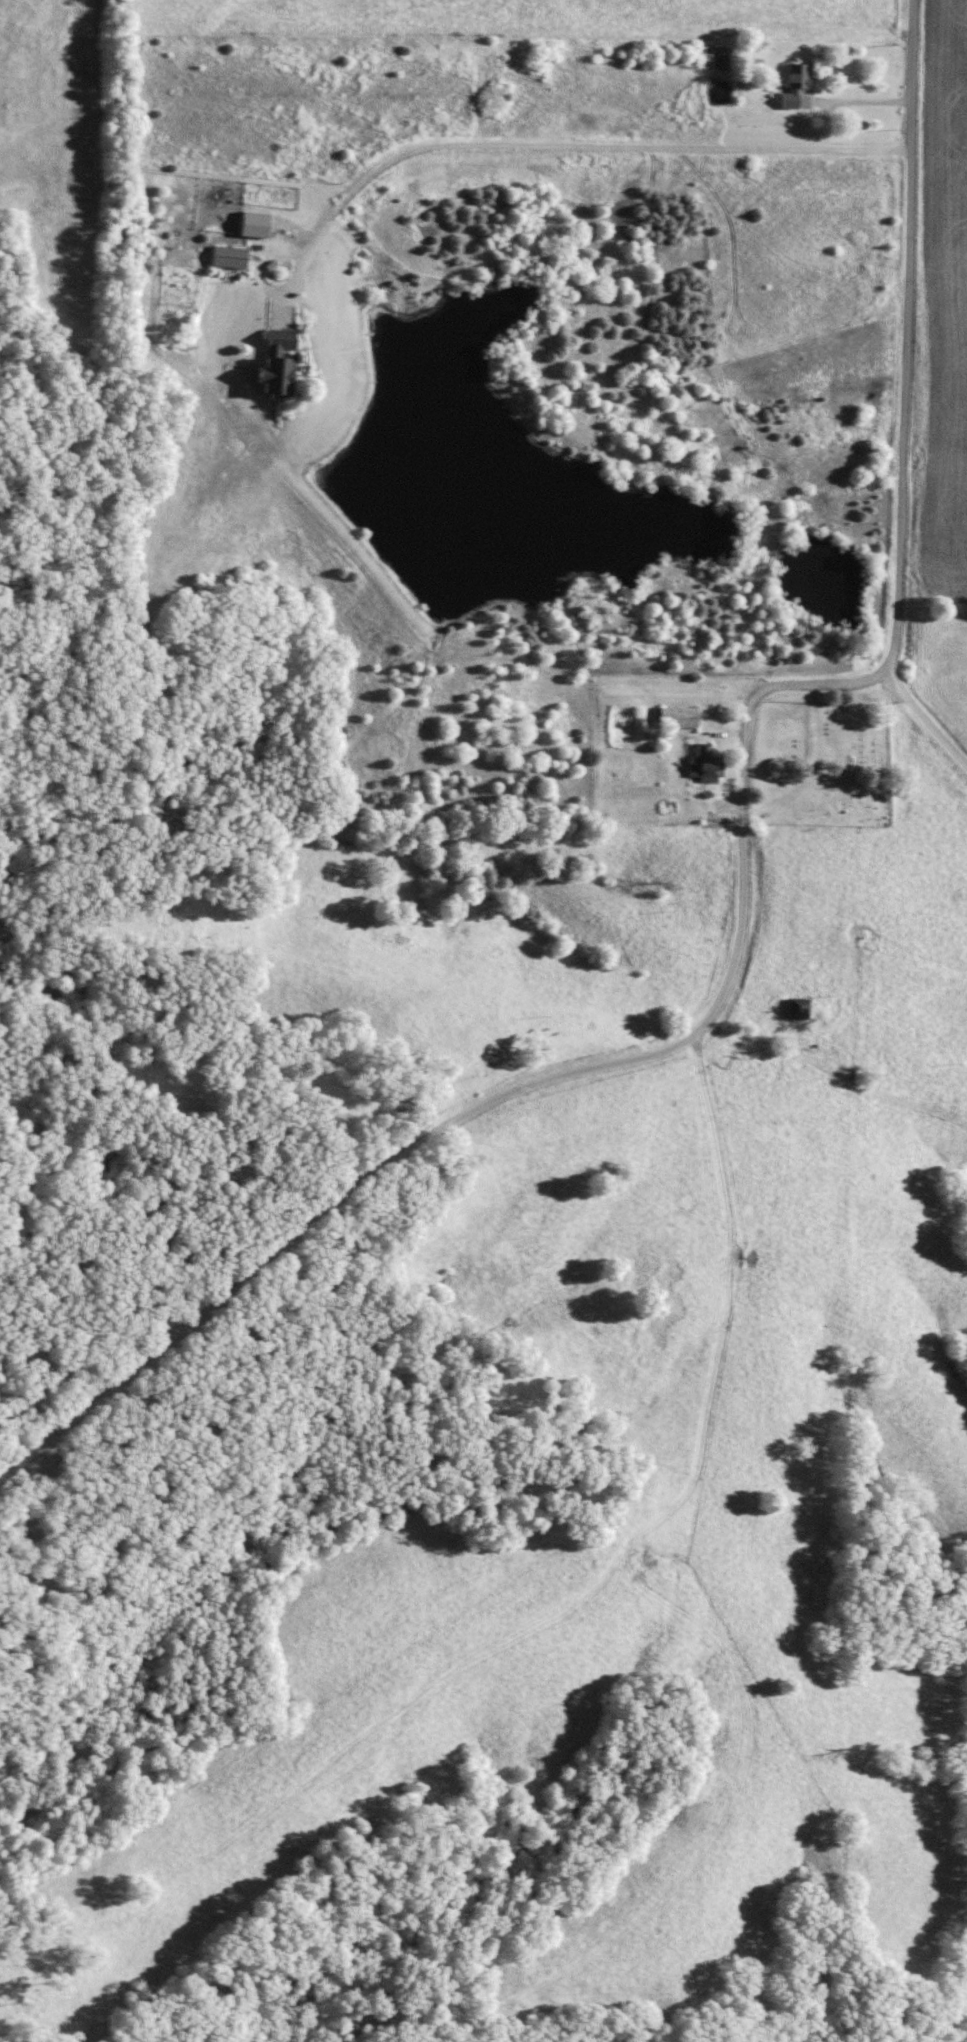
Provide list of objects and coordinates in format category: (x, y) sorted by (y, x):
building: (792, 84)
road: (854, 101)
road: (548, 146)
building: (251, 223)
building: (227, 255)
road: (905, 336)
building: (276, 340)
building: (272, 375)
building: (675, 716)
road: (924, 720)
park: (821, 762)
building: (702, 763)
building: (794, 1006)
road: (535, 1080)

